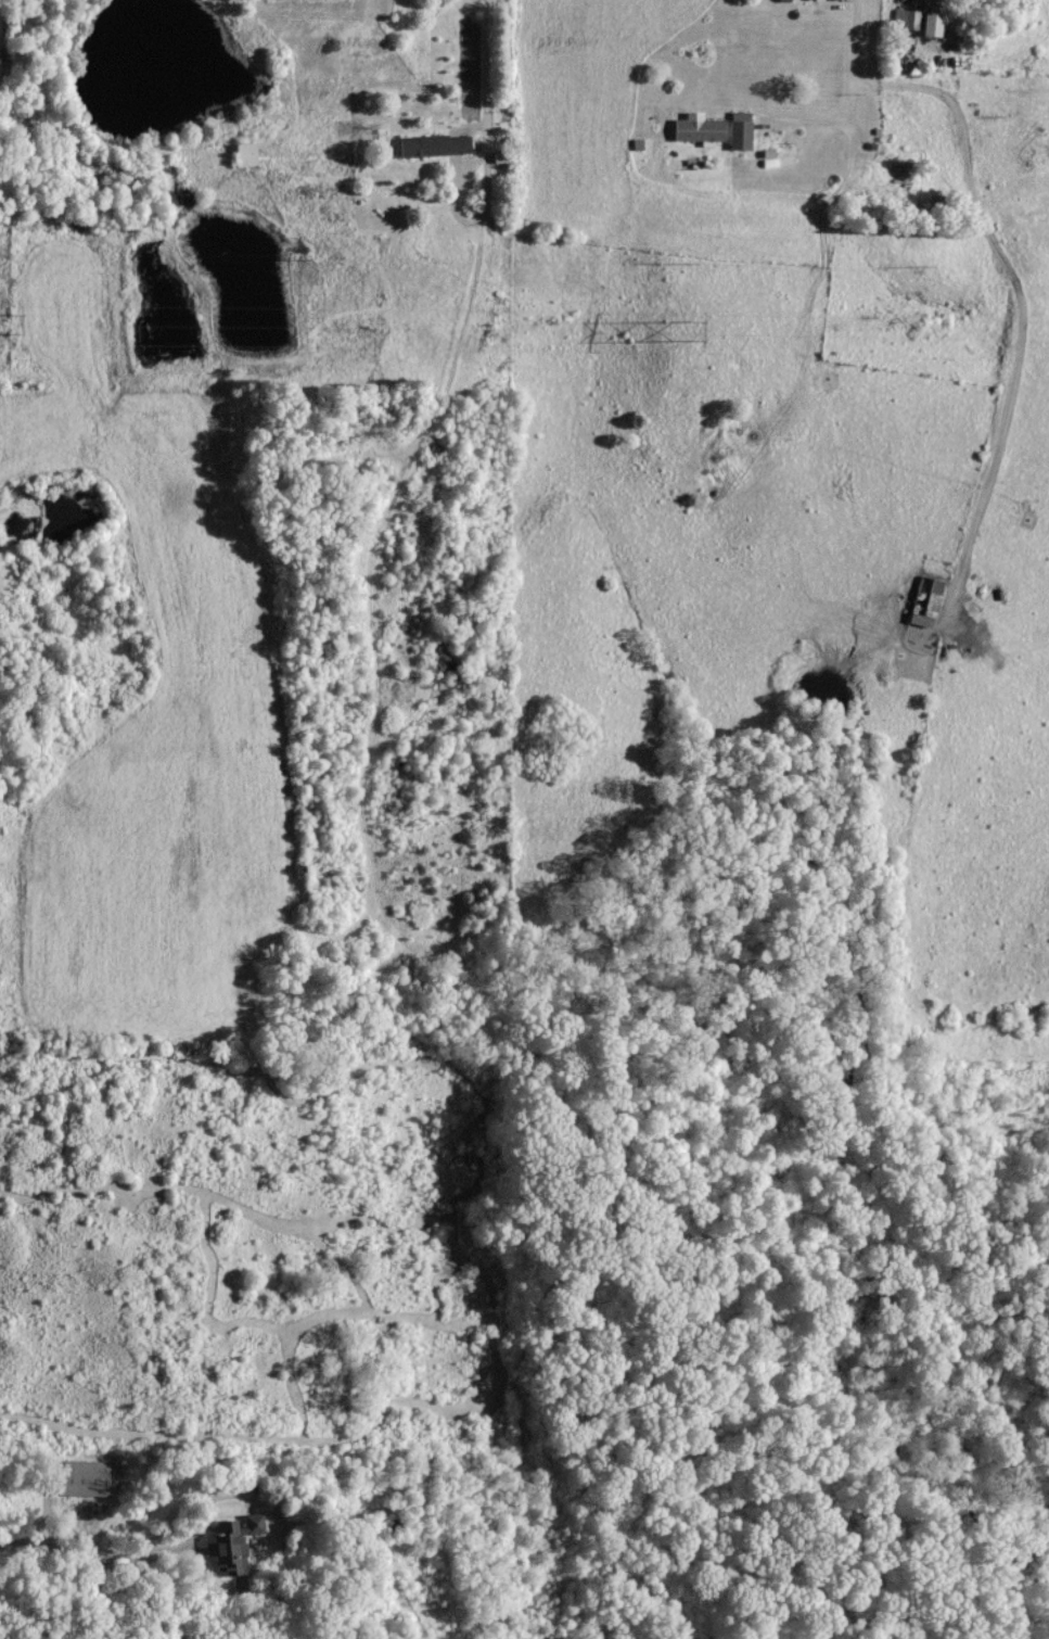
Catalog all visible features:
building: (905, 17)
building: (934, 23)
road: (856, 60)
road: (488, 72)
building: (699, 127)
building: (741, 129)
building: (436, 144)
building: (247, 153)
building: (502, 156)
road: (1021, 300)
power tower: (12, 318)
power tower: (690, 328)
building: (926, 599)
building: (84, 1476)
building: (233, 1542)
road: (138, 1550)

